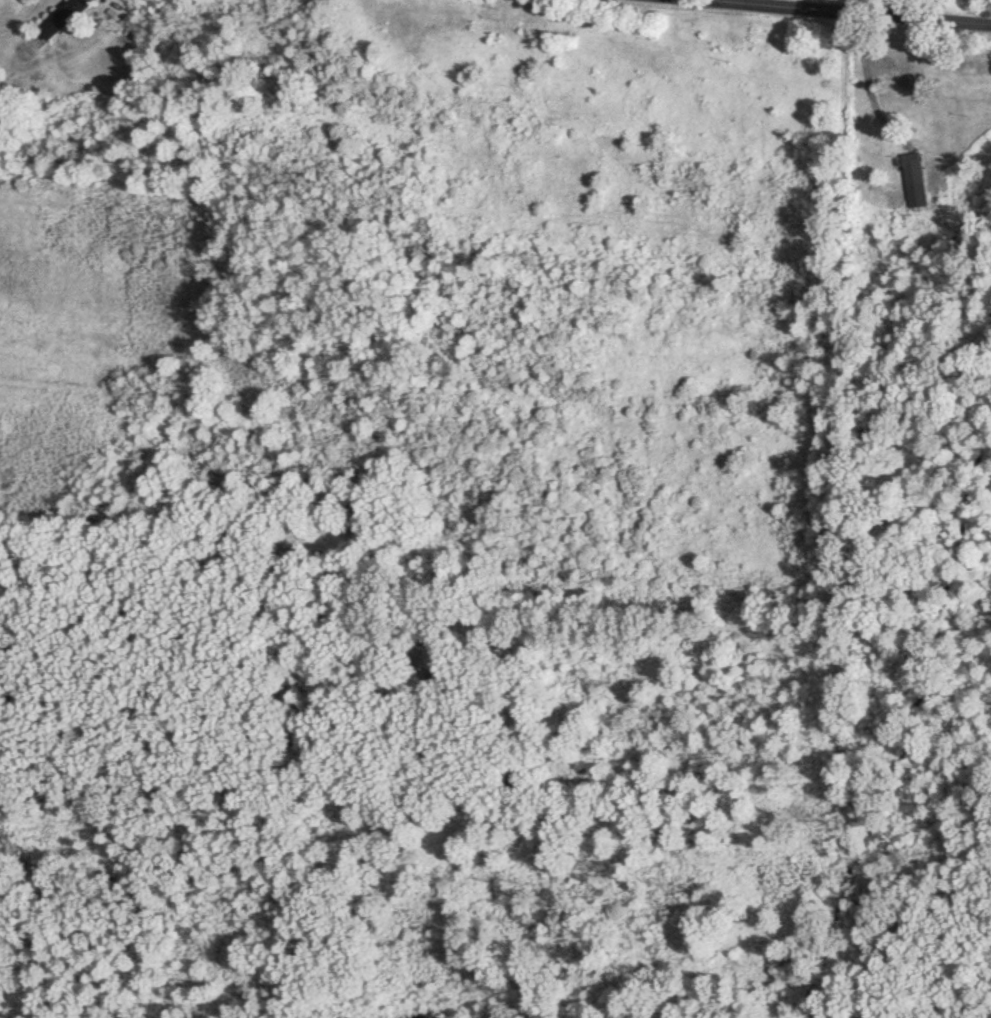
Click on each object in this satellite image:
road: (851, 13)
building: (62, 17)
building: (911, 168)

